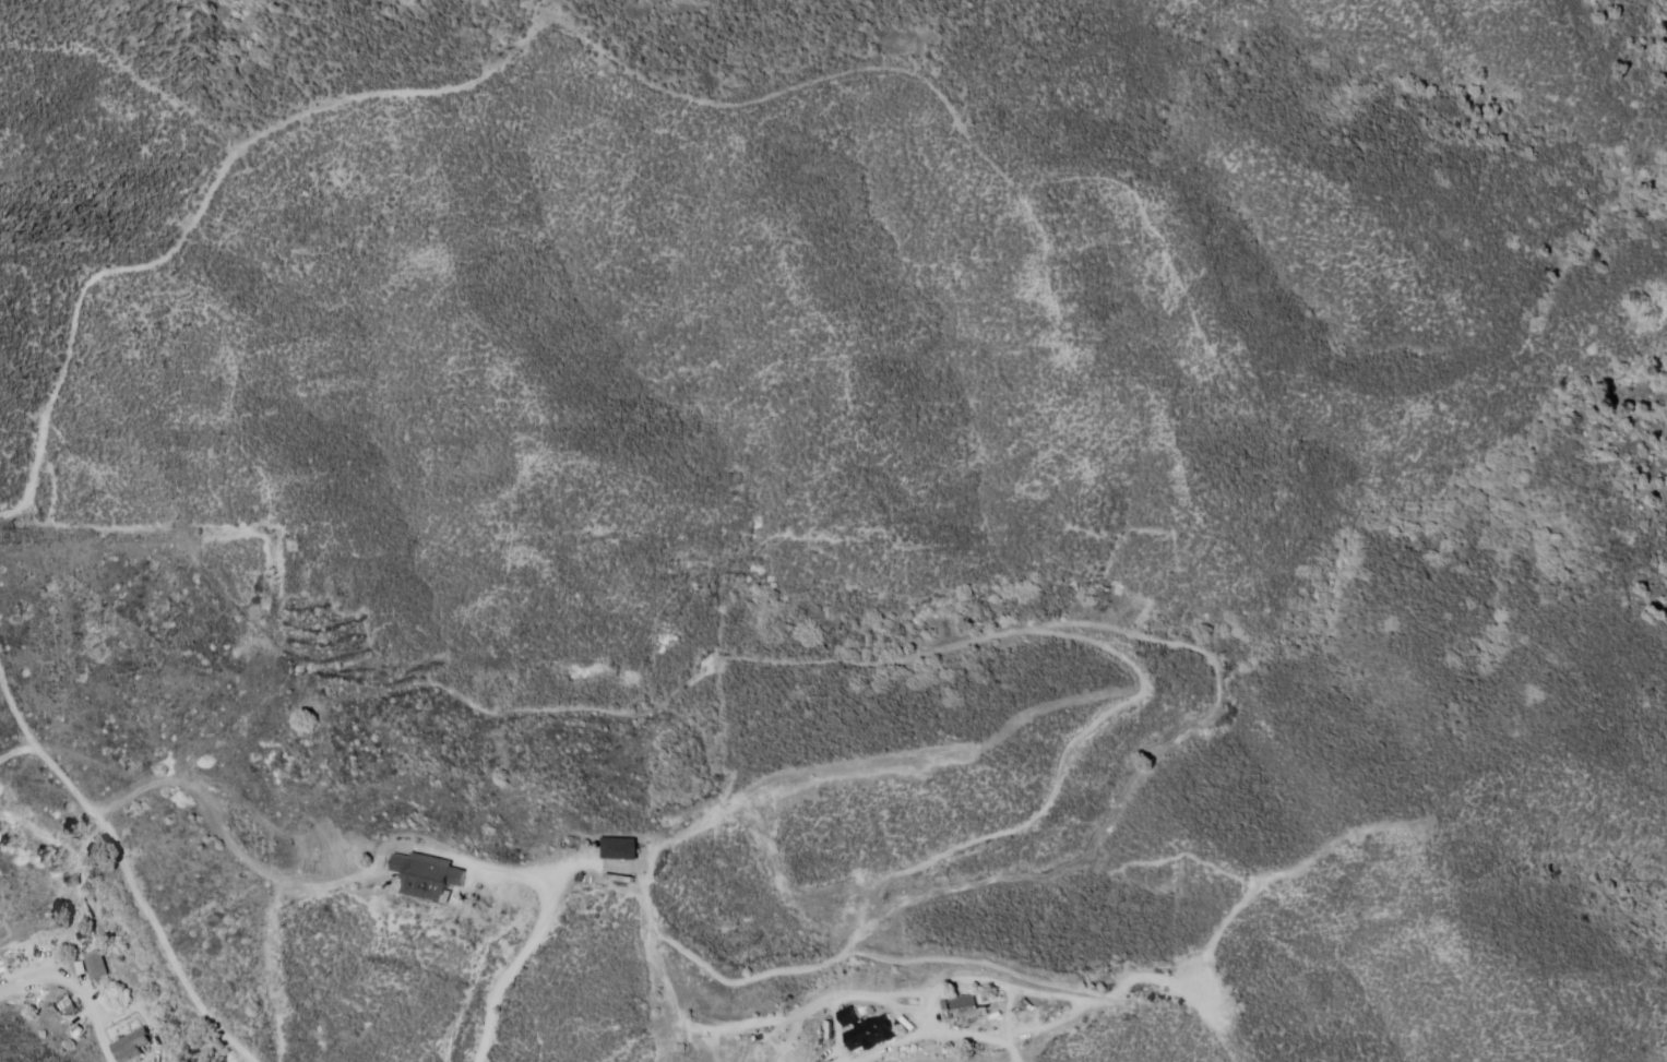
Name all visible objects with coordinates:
building: (620, 848)
road: (122, 863)
building: (427, 875)
building: (97, 965)
road: (517, 965)
building: (965, 1000)
building: (868, 1028)
building: (133, 1046)
road: (107, 1051)

